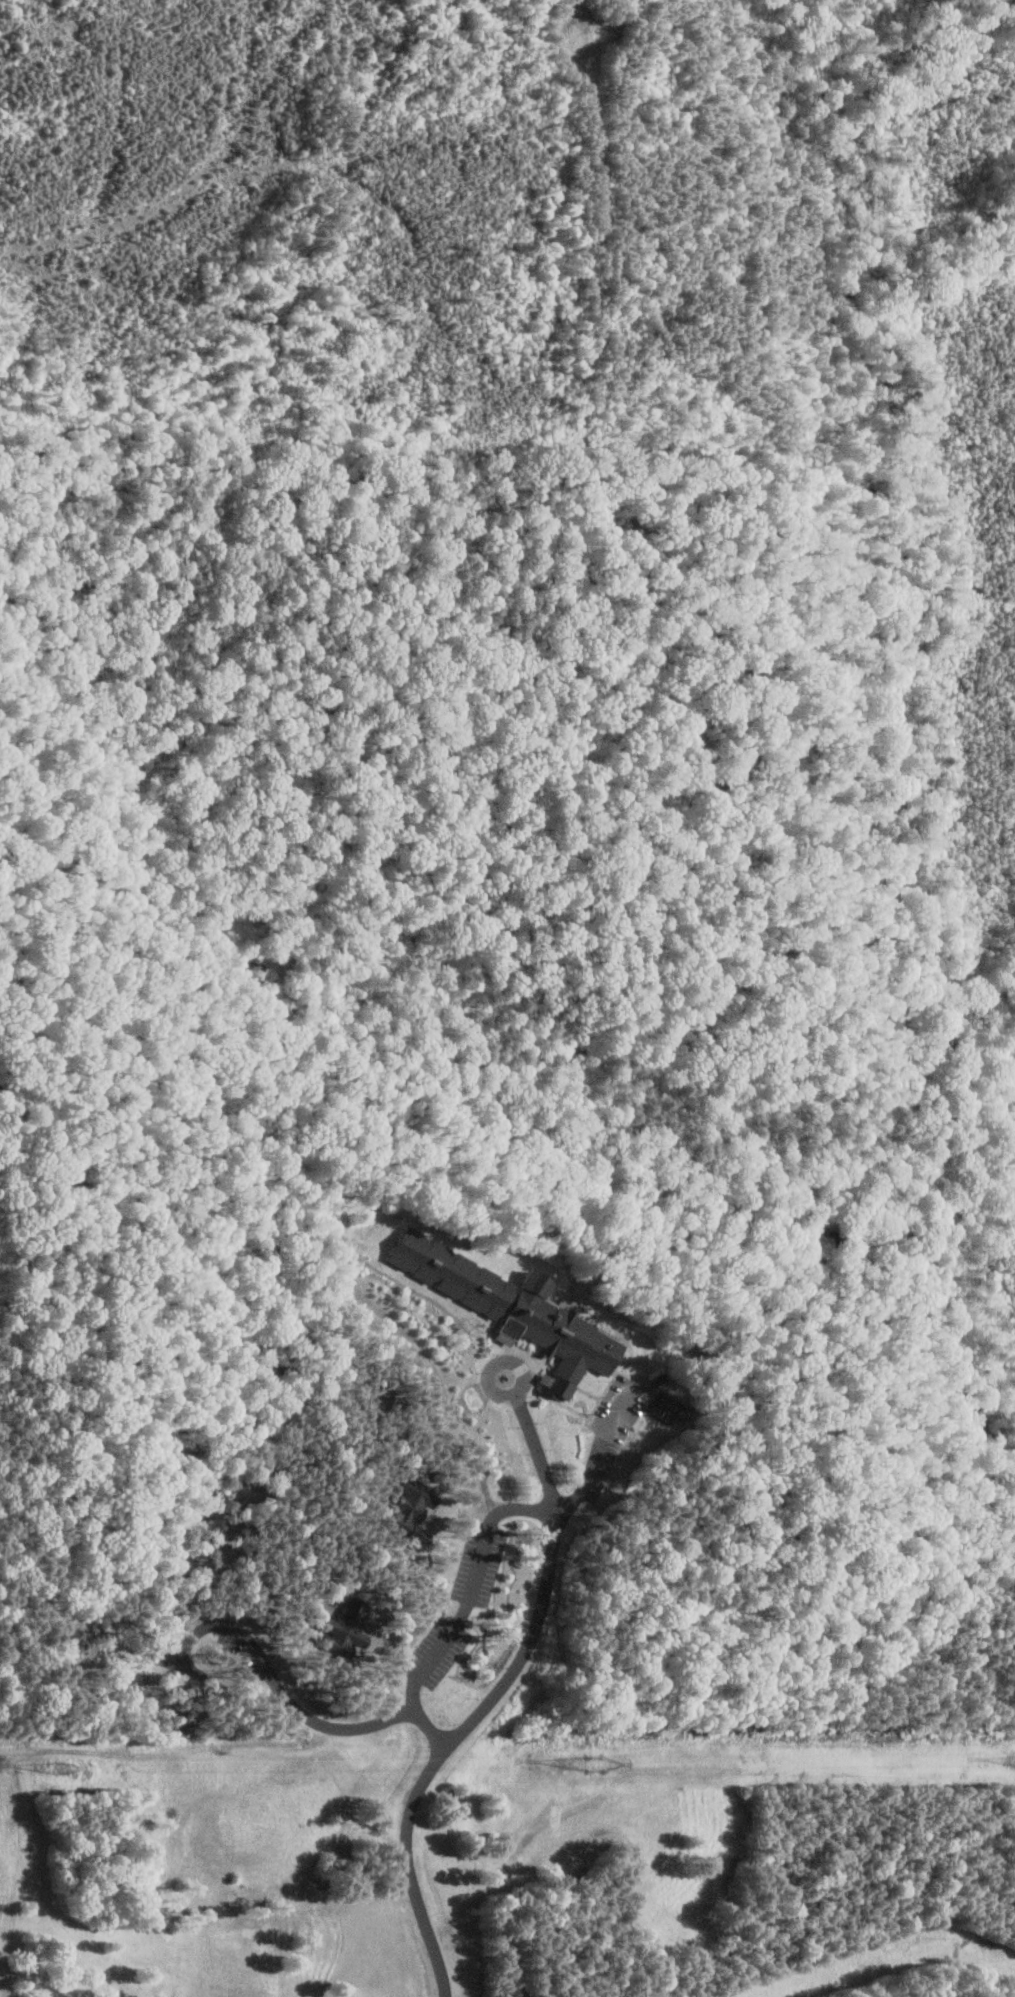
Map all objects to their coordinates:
building: (511, 1310)
building: (668, 1408)
road: (547, 1466)
building: (410, 1505)
road: (468, 1603)
building: (340, 1617)
road: (280, 1686)
road: (492, 1693)
power tower: (563, 1767)
power tower: (63, 1769)

